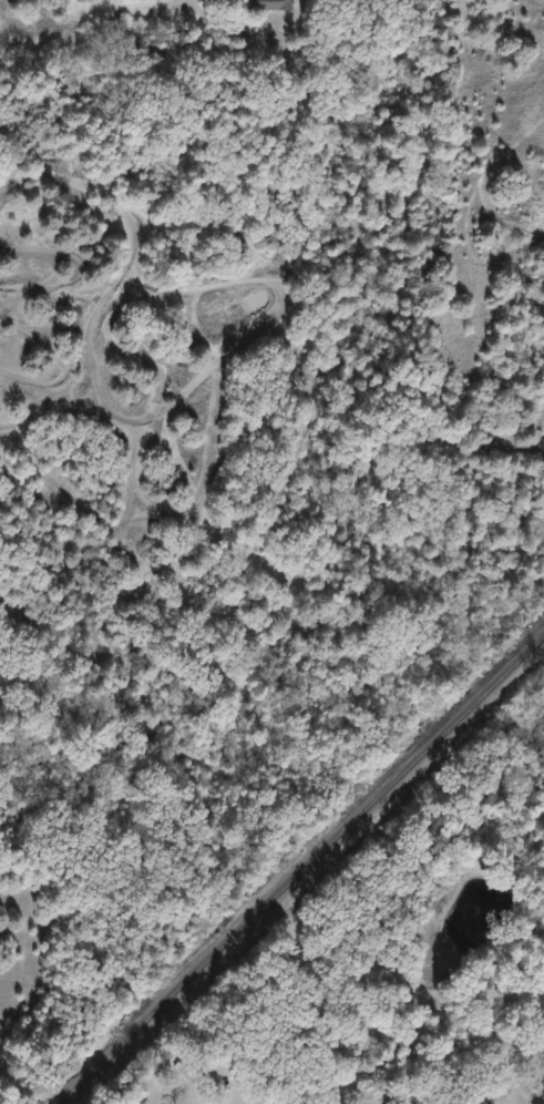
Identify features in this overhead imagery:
building: (84, 0)
building: (268, 4)
railway: (304, 870)
building: (179, 1066)

